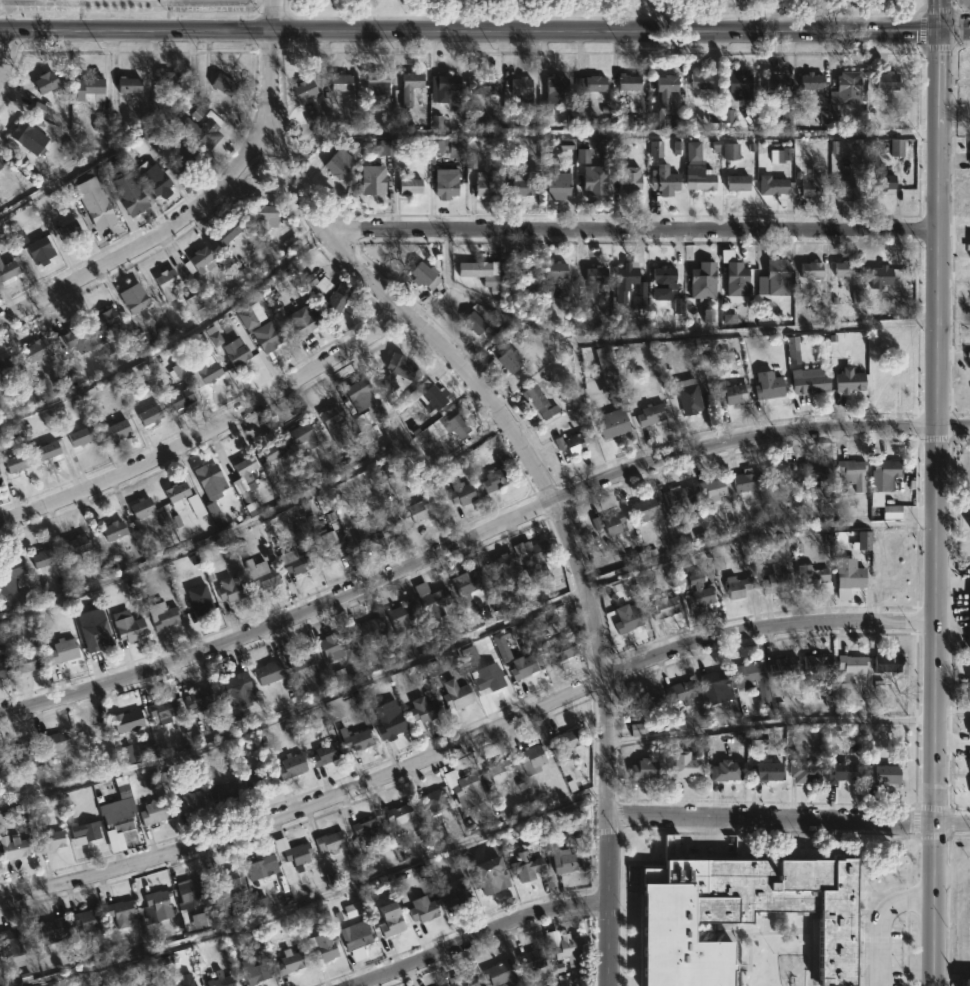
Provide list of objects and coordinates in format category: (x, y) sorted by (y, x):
building: (50, 0)
parking lot: (212, 5)
park: (602, 5)
park: (612, 5)
road: (937, 9)
road: (4, 15)
road: (782, 15)
road: (954, 27)
road: (954, 27)
road: (919, 28)
road: (469, 30)
traffic signals: (939, 30)
road: (937, 47)
road: (8, 55)
building: (167, 80)
building: (700, 80)
building: (44, 81)
building: (811, 81)
building: (887, 81)
building: (340, 82)
building: (375, 82)
building: (627, 82)
building: (776, 82)
building: (447, 83)
building: (590, 83)
building: (666, 83)
building: (127, 84)
building: (222, 84)
building: (406, 84)
building: (483, 84)
building: (92, 85)
building: (740, 85)
building: (520, 86)
building: (303, 89)
building: (848, 89)
building: (553, 93)
building: (655, 114)
building: (198, 129)
building: (331, 129)
building: (19, 136)
building: (969, 151)
building: (694, 153)
building: (182, 155)
building: (335, 167)
building: (0, 168)
building: (882, 177)
building: (152, 178)
building: (629, 179)
building: (664, 180)
building: (700, 180)
building: (593, 181)
building: (372, 182)
building: (737, 184)
building: (812, 184)
building: (446, 185)
building: (483, 185)
building: (409, 186)
building: (520, 186)
building: (558, 186)
building: (773, 186)
building: (126, 187)
building: (846, 190)
building: (98, 213)
building: (262, 214)
building: (66, 229)
road: (629, 229)
building: (227, 230)
road: (156, 235)
building: (36, 247)
building: (969, 248)
building: (197, 260)
building: (845, 268)
building: (521, 270)
building: (810, 270)
building: (554, 271)
building: (7, 272)
building: (422, 273)
building: (480, 273)
building: (736, 275)
building: (595, 277)
building: (777, 278)
building: (882, 278)
building: (703, 280)
building: (315, 282)
building: (662, 282)
building: (165, 283)
building: (622, 287)
building: (336, 300)
building: (135, 303)
building: (107, 320)
building: (300, 322)
building: (473, 323)
building: (266, 337)
building: (74, 340)
building: (35, 350)
building: (235, 354)
building: (509, 361)
building: (5, 365)
building: (399, 366)
building: (205, 373)
building: (850, 381)
road: (963, 381)
building: (808, 384)
building: (768, 386)
building: (729, 392)
building: (426, 394)
building: (178, 398)
building: (690, 400)
road: (966, 401)
building: (539, 403)
building: (373, 410)
building: (650, 414)
building: (149, 415)
building: (611, 423)
building: (332, 425)
building: (457, 425)
road: (952, 427)
road: (211, 430)
building: (115, 431)
building: (299, 436)
building: (571, 443)
building: (48, 449)
building: (270, 451)
road: (525, 455)
building: (14, 463)
building: (244, 468)
building: (850, 472)
building: (815, 473)
building: (780, 474)
building: (889, 474)
building: (493, 480)
building: (746, 480)
building: (212, 488)
building: (712, 489)
building: (460, 492)
road: (935, 492)
building: (177, 494)
building: (678, 501)
building: (196, 508)
building: (645, 508)
building: (141, 509)
building: (411, 511)
building: (969, 514)
road: (249, 521)
building: (609, 523)
building: (112, 531)
building: (365, 532)
building: (77, 545)
road: (462, 545)
building: (328, 547)
building: (532, 555)
building: (41, 558)
building: (295, 564)
building: (508, 573)
building: (8, 574)
building: (259, 576)
building: (814, 579)
building: (887, 579)
building: (775, 581)
building: (849, 581)
building: (738, 587)
building: (469, 589)
building: (228, 591)
building: (698, 592)
building: (432, 601)
building: (199, 607)
building: (664, 608)
building: (161, 616)
building: (402, 616)
building: (626, 619)
building: (127, 626)
building: (366, 630)
building: (95, 635)
building: (334, 643)
building: (64, 650)
building: (558, 650)
building: (300, 657)
building: (28, 661)
building: (852, 664)
building: (887, 664)
building: (2, 667)
building: (523, 667)
building: (782, 667)
building: (815, 668)
building: (268, 671)
building: (969, 676)
building: (752, 678)
building: (488, 679)
building: (714, 687)
building: (236, 690)
building: (680, 693)
building: (454, 696)
building: (197, 698)
building: (645, 706)
road: (297, 709)
building: (162, 710)
building: (420, 711)
building: (126, 719)
building: (389, 720)
building: (357, 739)
road: (466, 741)
building: (565, 741)
building: (54, 743)
building: (324, 753)
building: (21, 754)
building: (532, 756)
building: (0, 763)
building: (684, 765)
building: (290, 766)
building: (500, 769)
building: (645, 770)
building: (802, 771)
building: (727, 772)
building: (765, 772)
building: (843, 773)
building: (883, 776)
building: (256, 778)
building: (464, 786)
building: (222, 791)
building: (434, 799)
building: (187, 801)
building: (153, 811)
road: (772, 817)
building: (399, 818)
road: (952, 822)
building: (117, 826)
building: (365, 827)
building: (83, 832)
building: (51, 839)
building: (329, 842)
building: (13, 847)
building: (292, 851)
building: (565, 861)
building: (528, 865)
building: (260, 866)
building: (492, 874)
building: (228, 878)
building: (189, 891)
building: (454, 893)
road: (319, 900)
building: (158, 903)
building: (422, 909)
building: (119, 911)
building: (738, 913)
building: (390, 919)
building: (83, 921)
road: (879, 921)
building: (46, 928)
building: (356, 935)
road: (483, 935)
building: (12, 936)
building: (323, 946)
building: (570, 949)
building: (531, 958)
building: (289, 961)
building: (254, 969)
building: (502, 973)
building: (183, 979)
building: (221, 979)
building: (463, 981)
building: (968, 982)
building: (154, 985)

